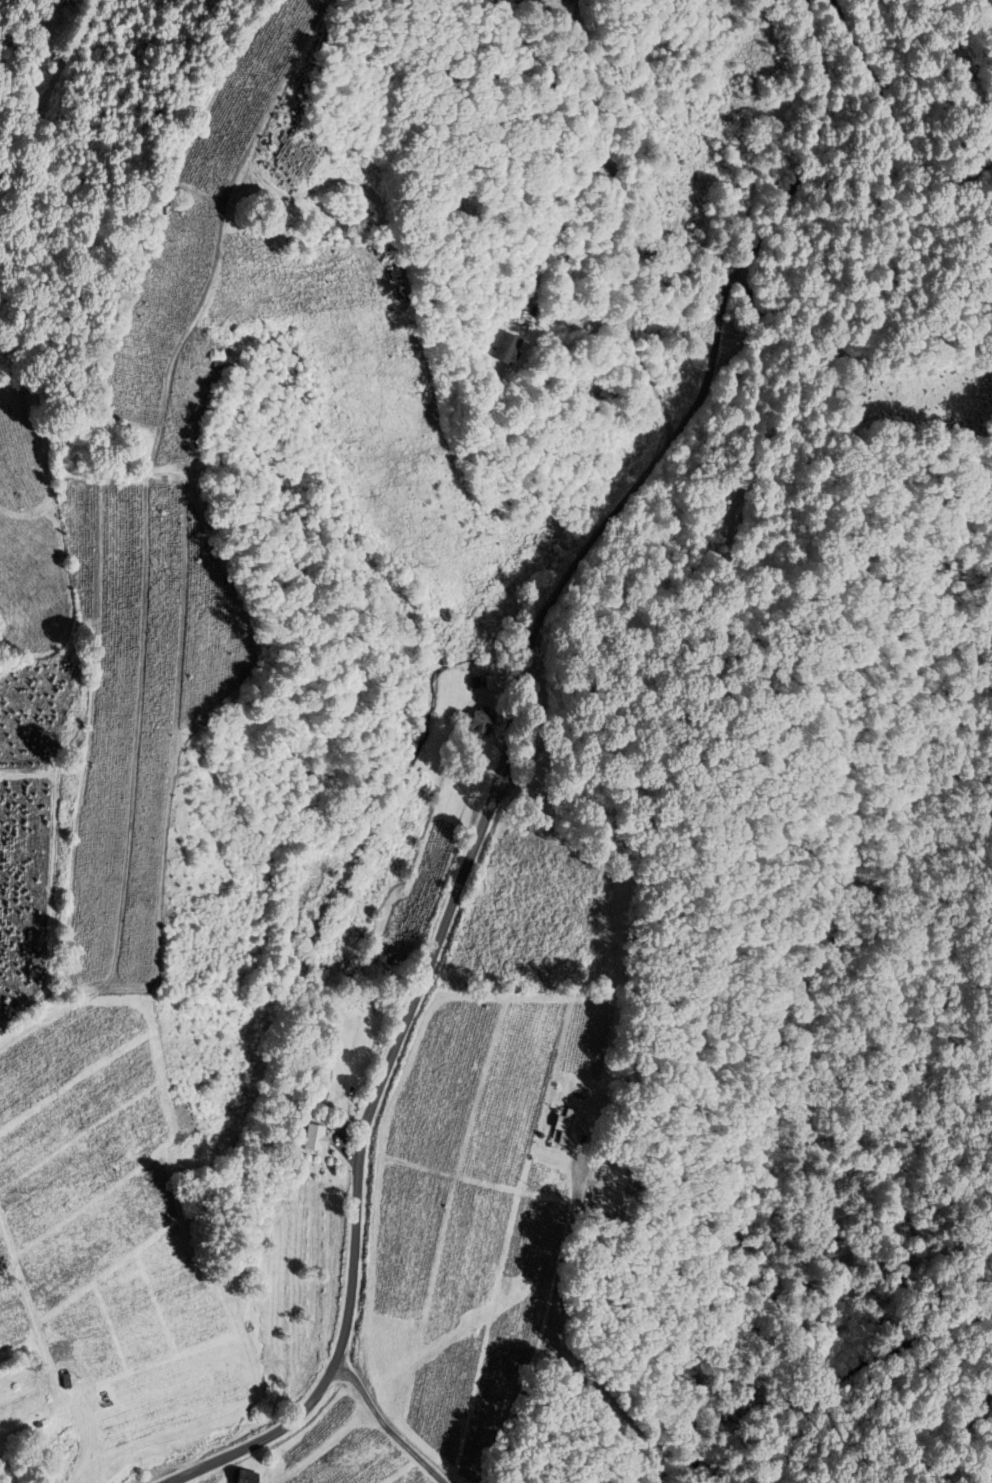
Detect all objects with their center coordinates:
road: (989, 4)
road: (893, 120)
road: (609, 218)
building: (510, 348)
road: (695, 408)
building: (476, 720)
building: (564, 1128)
building: (305, 1138)
road: (375, 1176)
road: (858, 1369)
building: (72, 1380)
building: (237, 1477)

